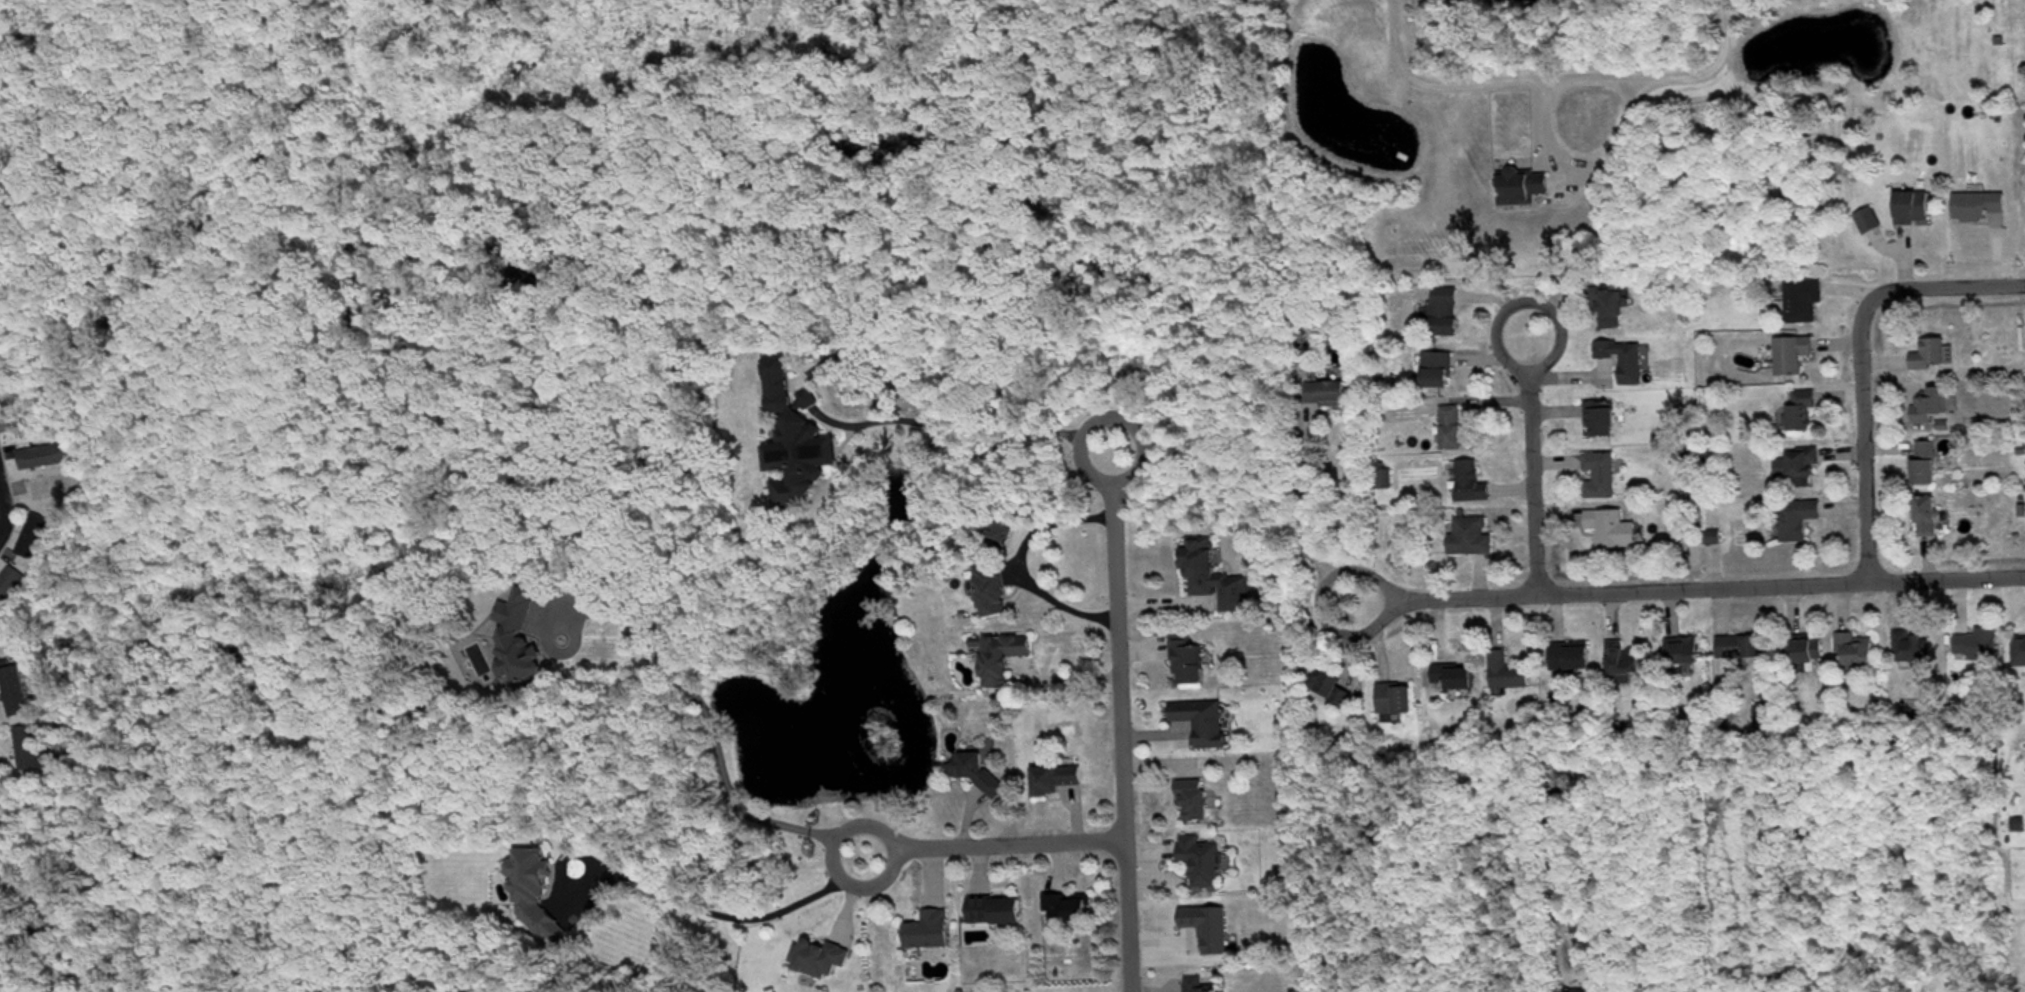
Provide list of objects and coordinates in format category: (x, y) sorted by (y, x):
building: (1524, 187)
building: (1979, 207)
building: (1914, 208)
building: (1869, 222)
building: (1803, 302)
building: (1611, 308)
building: (1445, 312)
building: (1794, 356)
building: (1933, 356)
road: (1855, 358)
building: (1626, 361)
building: (1440, 372)
building: (1327, 396)
building: (1930, 405)
building: (1803, 411)
building: (1603, 421)
building: (1459, 432)
building: (797, 440)
building: (45, 458)
road: (1527, 463)
building: (1928, 465)
building: (1800, 469)
building: (1601, 478)
building: (1473, 484)
building: (1930, 519)
building: (1798, 521)
building: (1614, 530)
building: (1470, 538)
building: (1217, 578)
building: (996, 580)
building: (9, 587)
road: (1686, 587)
building: (520, 643)
building: (1979, 647)
building: (1742, 648)
building: (1914, 649)
building: (1811, 650)
building: (1857, 652)
building: (1686, 653)
building: (2020, 653)
building: (1003, 659)
building: (1572, 659)
building: (1189, 663)
building: (1624, 664)
building: (1509, 674)
building: (1455, 679)
building: (1333, 691)
building: (15, 693)
building: (1398, 701)
road: (1117, 721)
building: (1205, 724)
building: (28, 750)
building: (1057, 781)
building: (1196, 801)
road: (992, 852)
building: (1204, 863)
building: (537, 897)
building: (1070, 909)
building: (998, 912)
building: (1577, 929)
building: (931, 933)
building: (822, 960)
building: (1200, 986)

